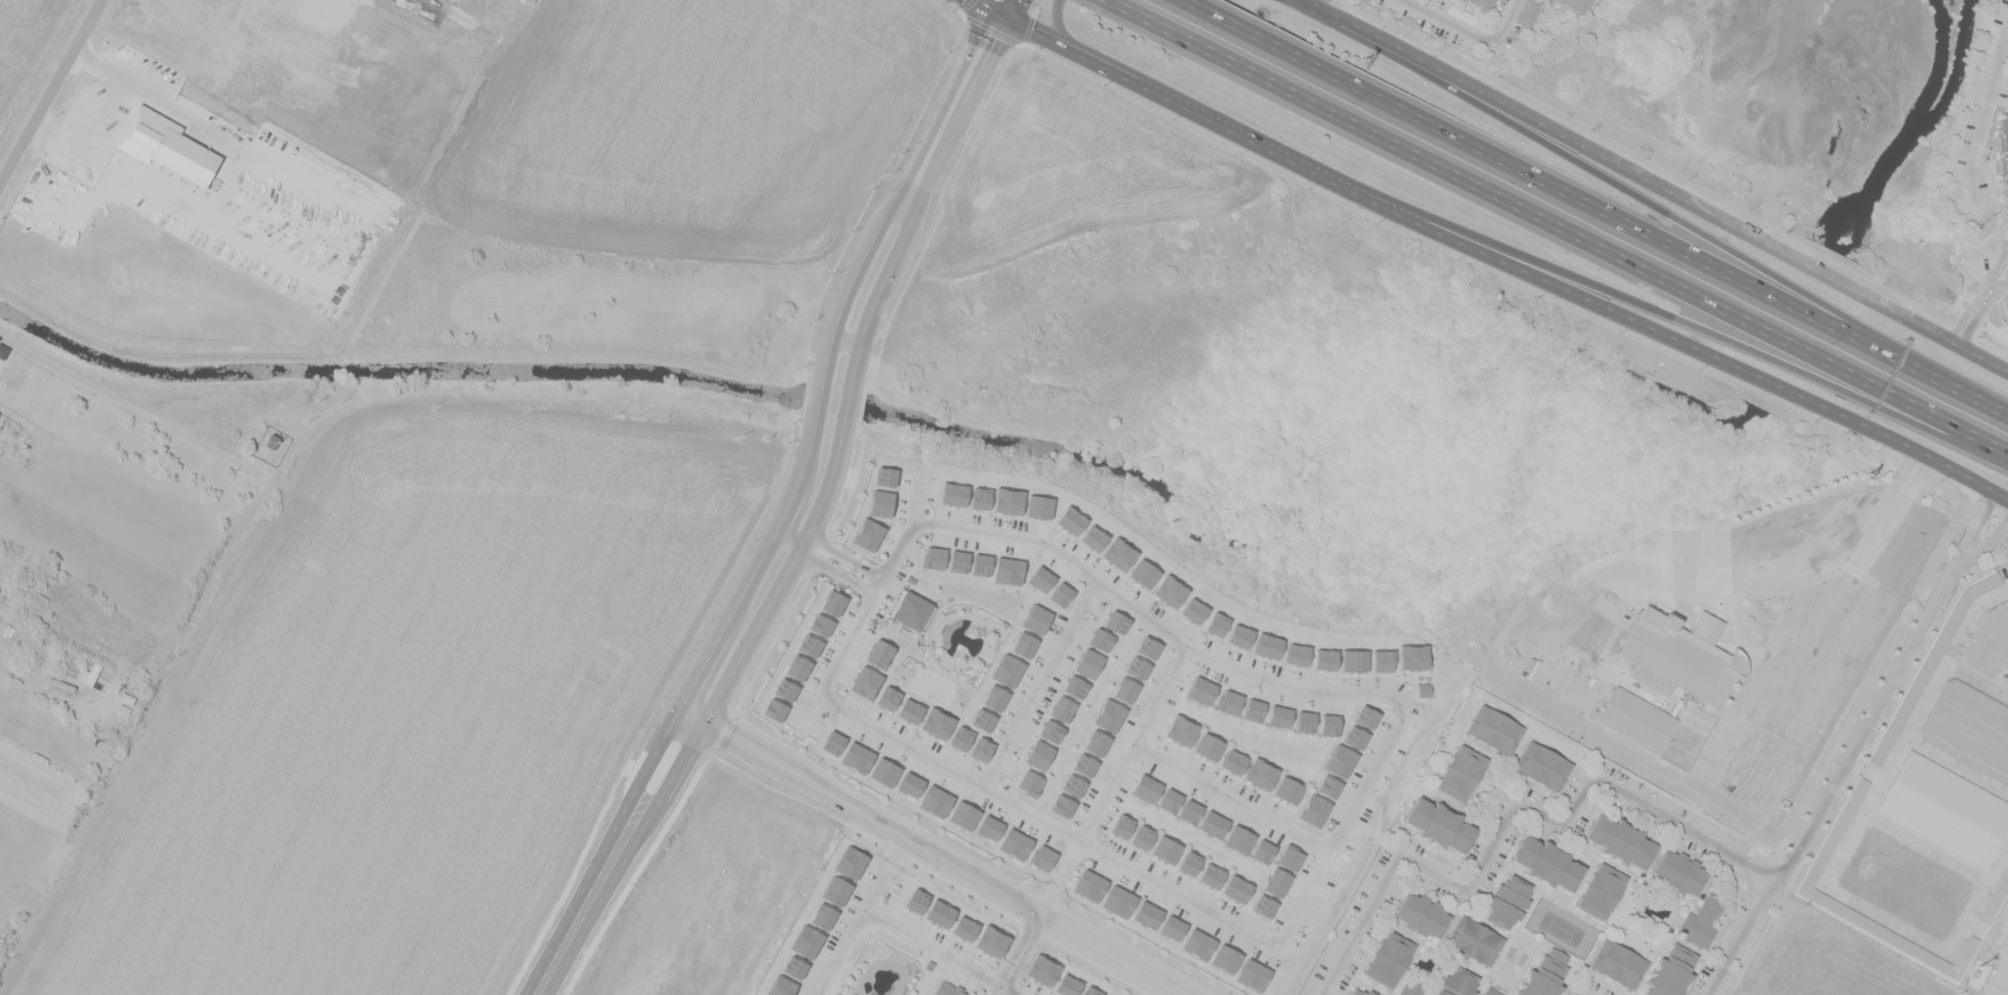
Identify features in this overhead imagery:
road: (1097, 3)
building: (1480, 3)
building: (1574, 4)
road: (1329, 5)
road: (989, 6)
road: (1005, 6)
building: (1528, 12)
traffic signals: (1002, 13)
building: (1462, 14)
road: (1347, 21)
road: (1510, 21)
road: (1059, 23)
road: (1448, 23)
road: (1036, 29)
crop: (28, 51)
road: (2004, 56)
road: (49, 89)
road: (953, 108)
road: (109, 117)
road: (1228, 125)
road: (1976, 143)
building: (2003, 147)
crop: (1074, 167)
crop: (471, 170)
road: (1530, 174)
road: (1638, 194)
road: (1699, 206)
road: (1555, 230)
road: (1981, 305)
building: (2005, 306)
road: (1699, 326)
road: (1655, 328)
road: (844, 339)
road: (824, 354)
road: (855, 371)
road: (1947, 379)
road: (137, 411)
road: (1965, 474)
building: (886, 476)
building: (955, 493)
road: (916, 498)
building: (980, 498)
road: (2007, 499)
building: (1007, 500)
building: (881, 502)
building: (1039, 507)
building: (1070, 520)
road: (793, 532)
building: (868, 534)
building: (1093, 538)
road: (846, 554)
building: (1119, 554)
building: (933, 558)
building: (958, 561)
building: (981, 564)
road: (1817, 566)
road: (837, 570)
building: (1007, 570)
building: (1143, 574)
building: (1040, 579)
building: (1169, 591)
building: (1060, 594)
building: (808, 601)
building: (833, 602)
road: (867, 608)
building: (911, 609)
building: (1193, 611)
road: (1969, 618)
building: (1036, 619)
road: (1152, 620)
building: (1116, 622)
building: (1216, 624)
building: (820, 625)
building: (1239, 635)
building: (1099, 640)
building: (1988, 640)
building: (1024, 644)
building: (809, 645)
building: (1267, 646)
building: (1147, 647)
building: (879, 653)
building: (1296, 654)
building: (1412, 656)
building: (1682, 656)
building: (1324, 659)
building: (1353, 660)
building: (1381, 660)
building: (1088, 663)
building: (1930, 664)
building: (798, 667)
building: (1137, 668)
building: (1007, 670)
building: (90, 671)
building: (865, 682)
road: (1041, 684)
road: (1887, 685)
building: (2007, 685)
building: (1074, 687)
road: (42, 689)
building: (785, 689)
building: (1423, 689)
building: (1125, 690)
building: (1201, 690)
building: (888, 698)
building: (995, 698)
road: (828, 700)
building: (1228, 702)
road: (1401, 704)
building: (774, 709)
building: (1062, 709)
building: (909, 710)
building: (1252, 710)
building: (1109, 715)
building: (1278, 716)
building: (1365, 716)
building: (982, 719)
building: (1639, 719)
building: (1304, 722)
building: (937, 723)
building: (1329, 725)
building: (1970, 728)
building: (1494, 729)
building: (1050, 731)
building: (1181, 731)
crop: (448, 734)
building: (1354, 737)
building: (961, 738)
building: (832, 742)
building: (1096, 743)
building: (1208, 747)
building: (981, 749)
building: (1038, 754)
building: (856, 757)
road: (649, 759)
building: (1339, 760)
building: (1233, 762)
building: (1084, 765)
building: (1542, 765)
road: (677, 767)
building: (884, 772)
building: (1461, 773)
building: (1261, 774)
road: (1114, 779)
building: (1029, 783)
building: (910, 784)
building: (1073, 785)
building: (1328, 786)
building: (1146, 788)
building: (1287, 790)
road: (1232, 797)
building: (1169, 800)
building: (935, 801)
building: (1062, 806)
building: (1945, 808)
building: (1313, 810)
building: (1189, 811)
building: (963, 815)
road: (1504, 821)
building: (1212, 824)
building: (1439, 825)
road: (1057, 826)
building: (1121, 826)
building: (989, 827)
road: (1340, 833)
building: (1835, 834)
building: (1142, 837)
building: (1238, 839)
building: (1621, 840)
building: (1014, 843)
building: (1165, 849)
road: (933, 851)
building: (1262, 851)
building: (1042, 857)
building: (1289, 857)
road: (1837, 860)
building: (850, 863)
building: (1189, 863)
building: (1548, 863)
road: (1767, 864)
building: (1678, 872)
building: (1211, 875)
building: (1275, 882)
building: (1089, 885)
building: (1236, 889)
building: (836, 890)
building: (1602, 891)
building: (1995, 899)
building: (916, 900)
building: (1118, 901)
building: (1508, 901)
building: (1263, 906)
building: (940, 913)
road: (859, 914)
building: (1421, 914)
building: (1146, 915)
building: (823, 916)
building: (1701, 921)
building: (1171, 927)
park: (1561, 927)
building: (964, 928)
building: (807, 941)
building: (991, 941)
building: (1473, 941)
building: (1197, 944)
road: (1734, 946)
road: (941, 951)
road: (1019, 954)
building: (1225, 958)
building: (1389, 958)
building: (1617, 963)
building: (794, 966)
building: (1042, 969)
building: (1671, 972)
building: (1252, 974)
building: (1544, 975)
building: (1460, 980)
building: (1067, 985)
building: (781, 986)
building: (1412, 988)
building: (947, 989)
building: (1091, 991)
building: (1360, 991)
building: (1492, 991)
building: (1442, 992)

